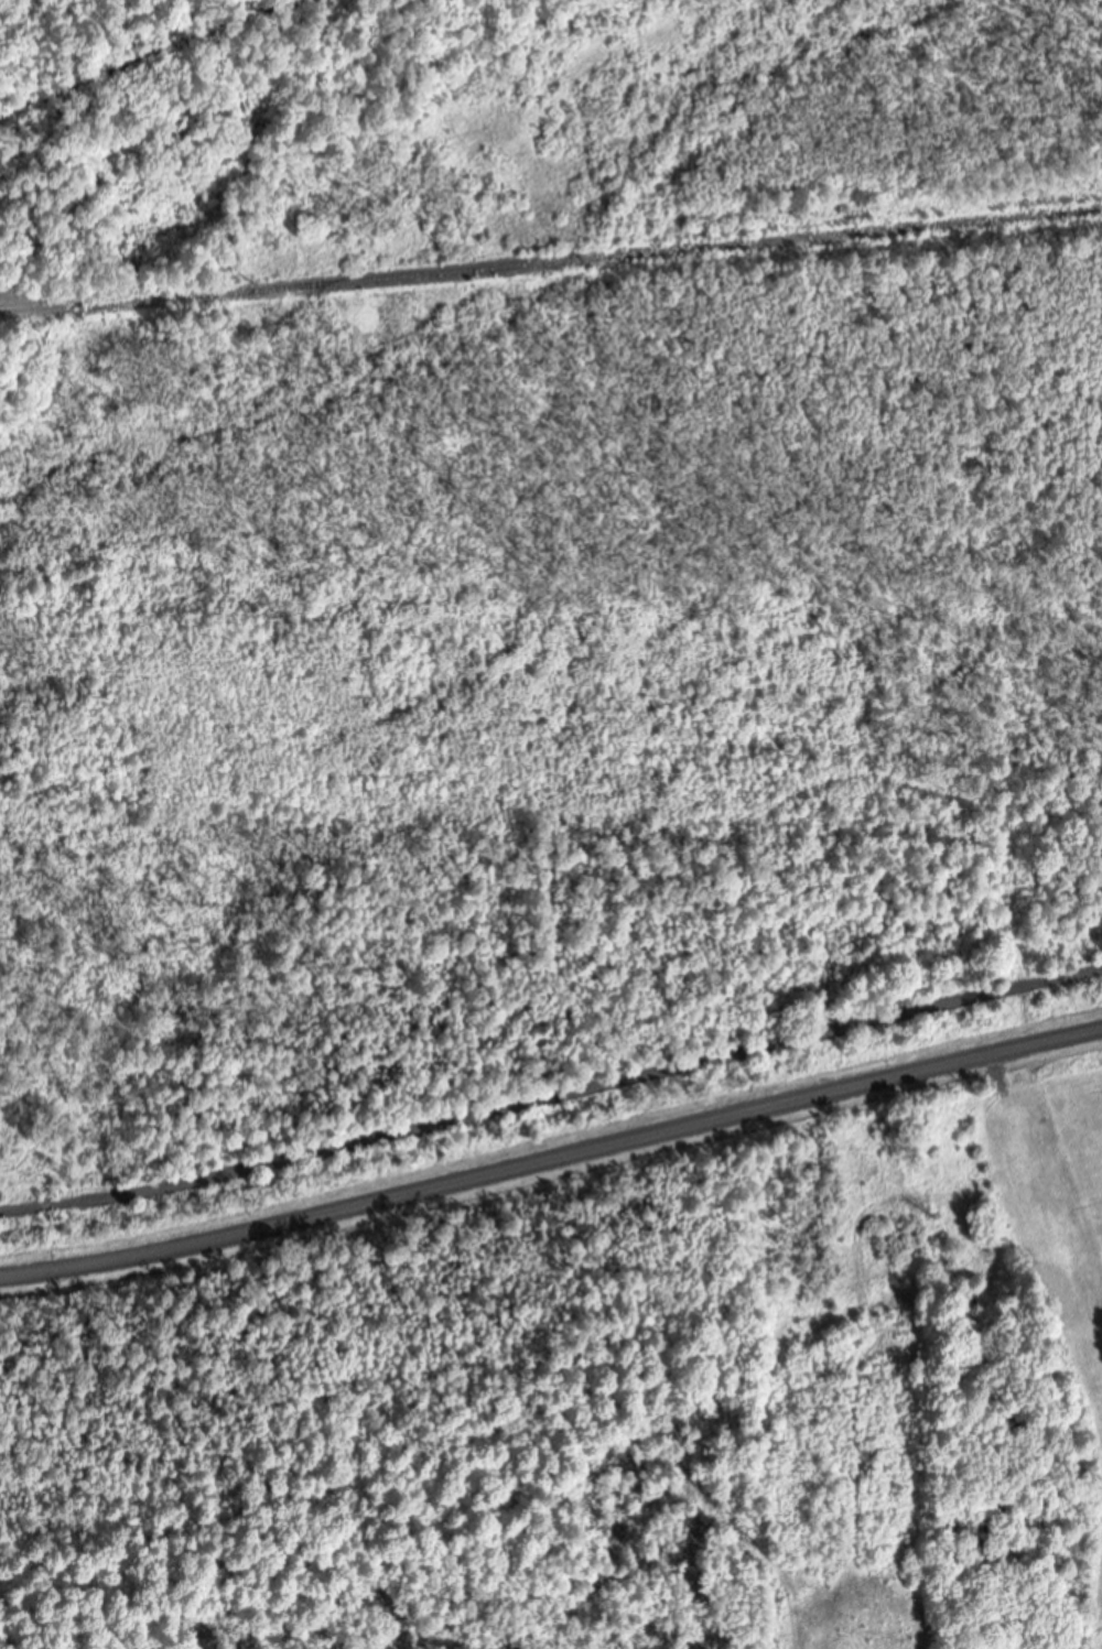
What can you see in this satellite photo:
railway: (551, 263)
road: (579, 1094)
road: (552, 1162)
road: (47, 1208)
road: (20, 1212)

